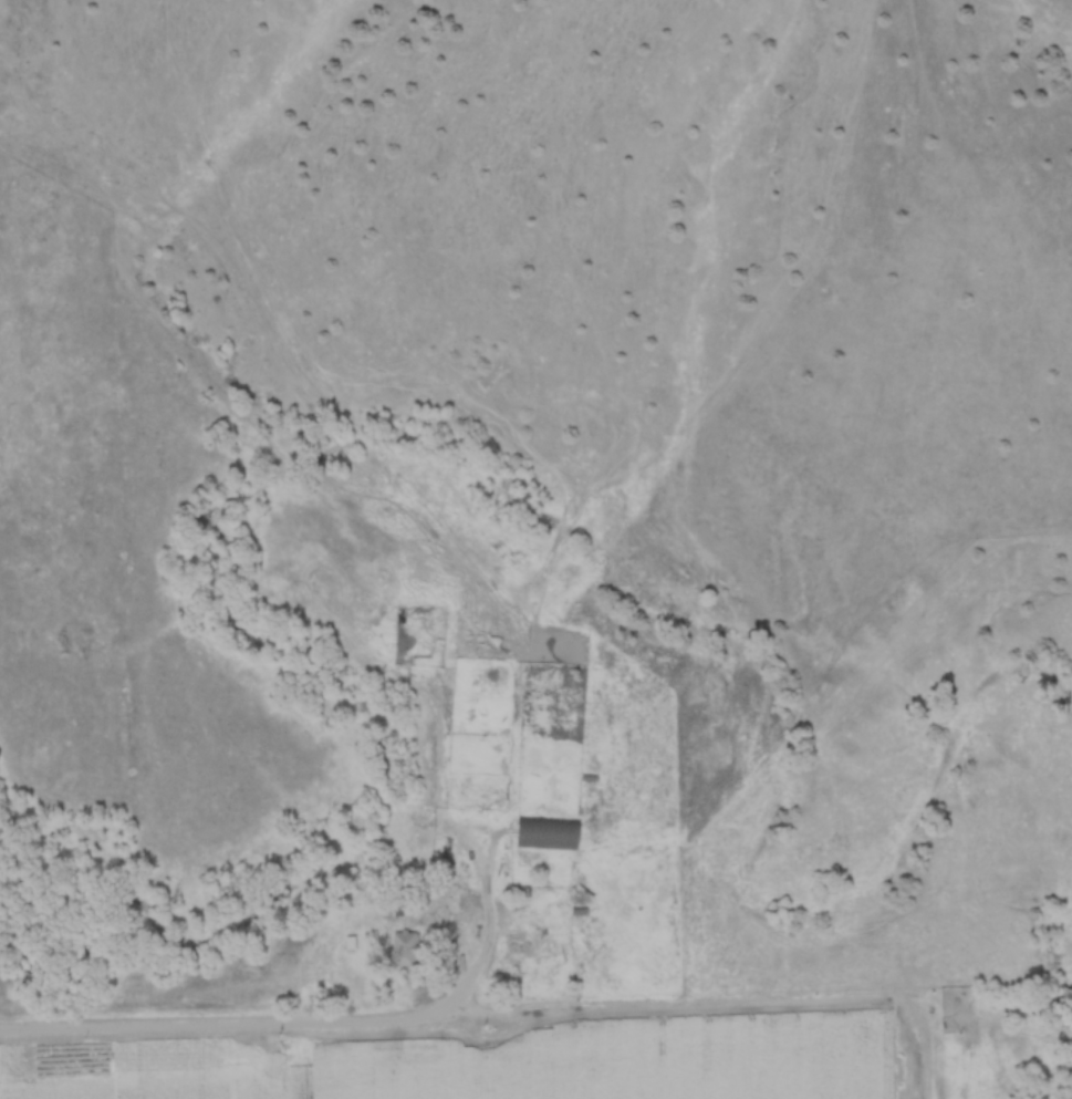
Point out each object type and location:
building: (547, 832)
building: (405, 948)
road: (437, 1010)
road: (200, 1027)

